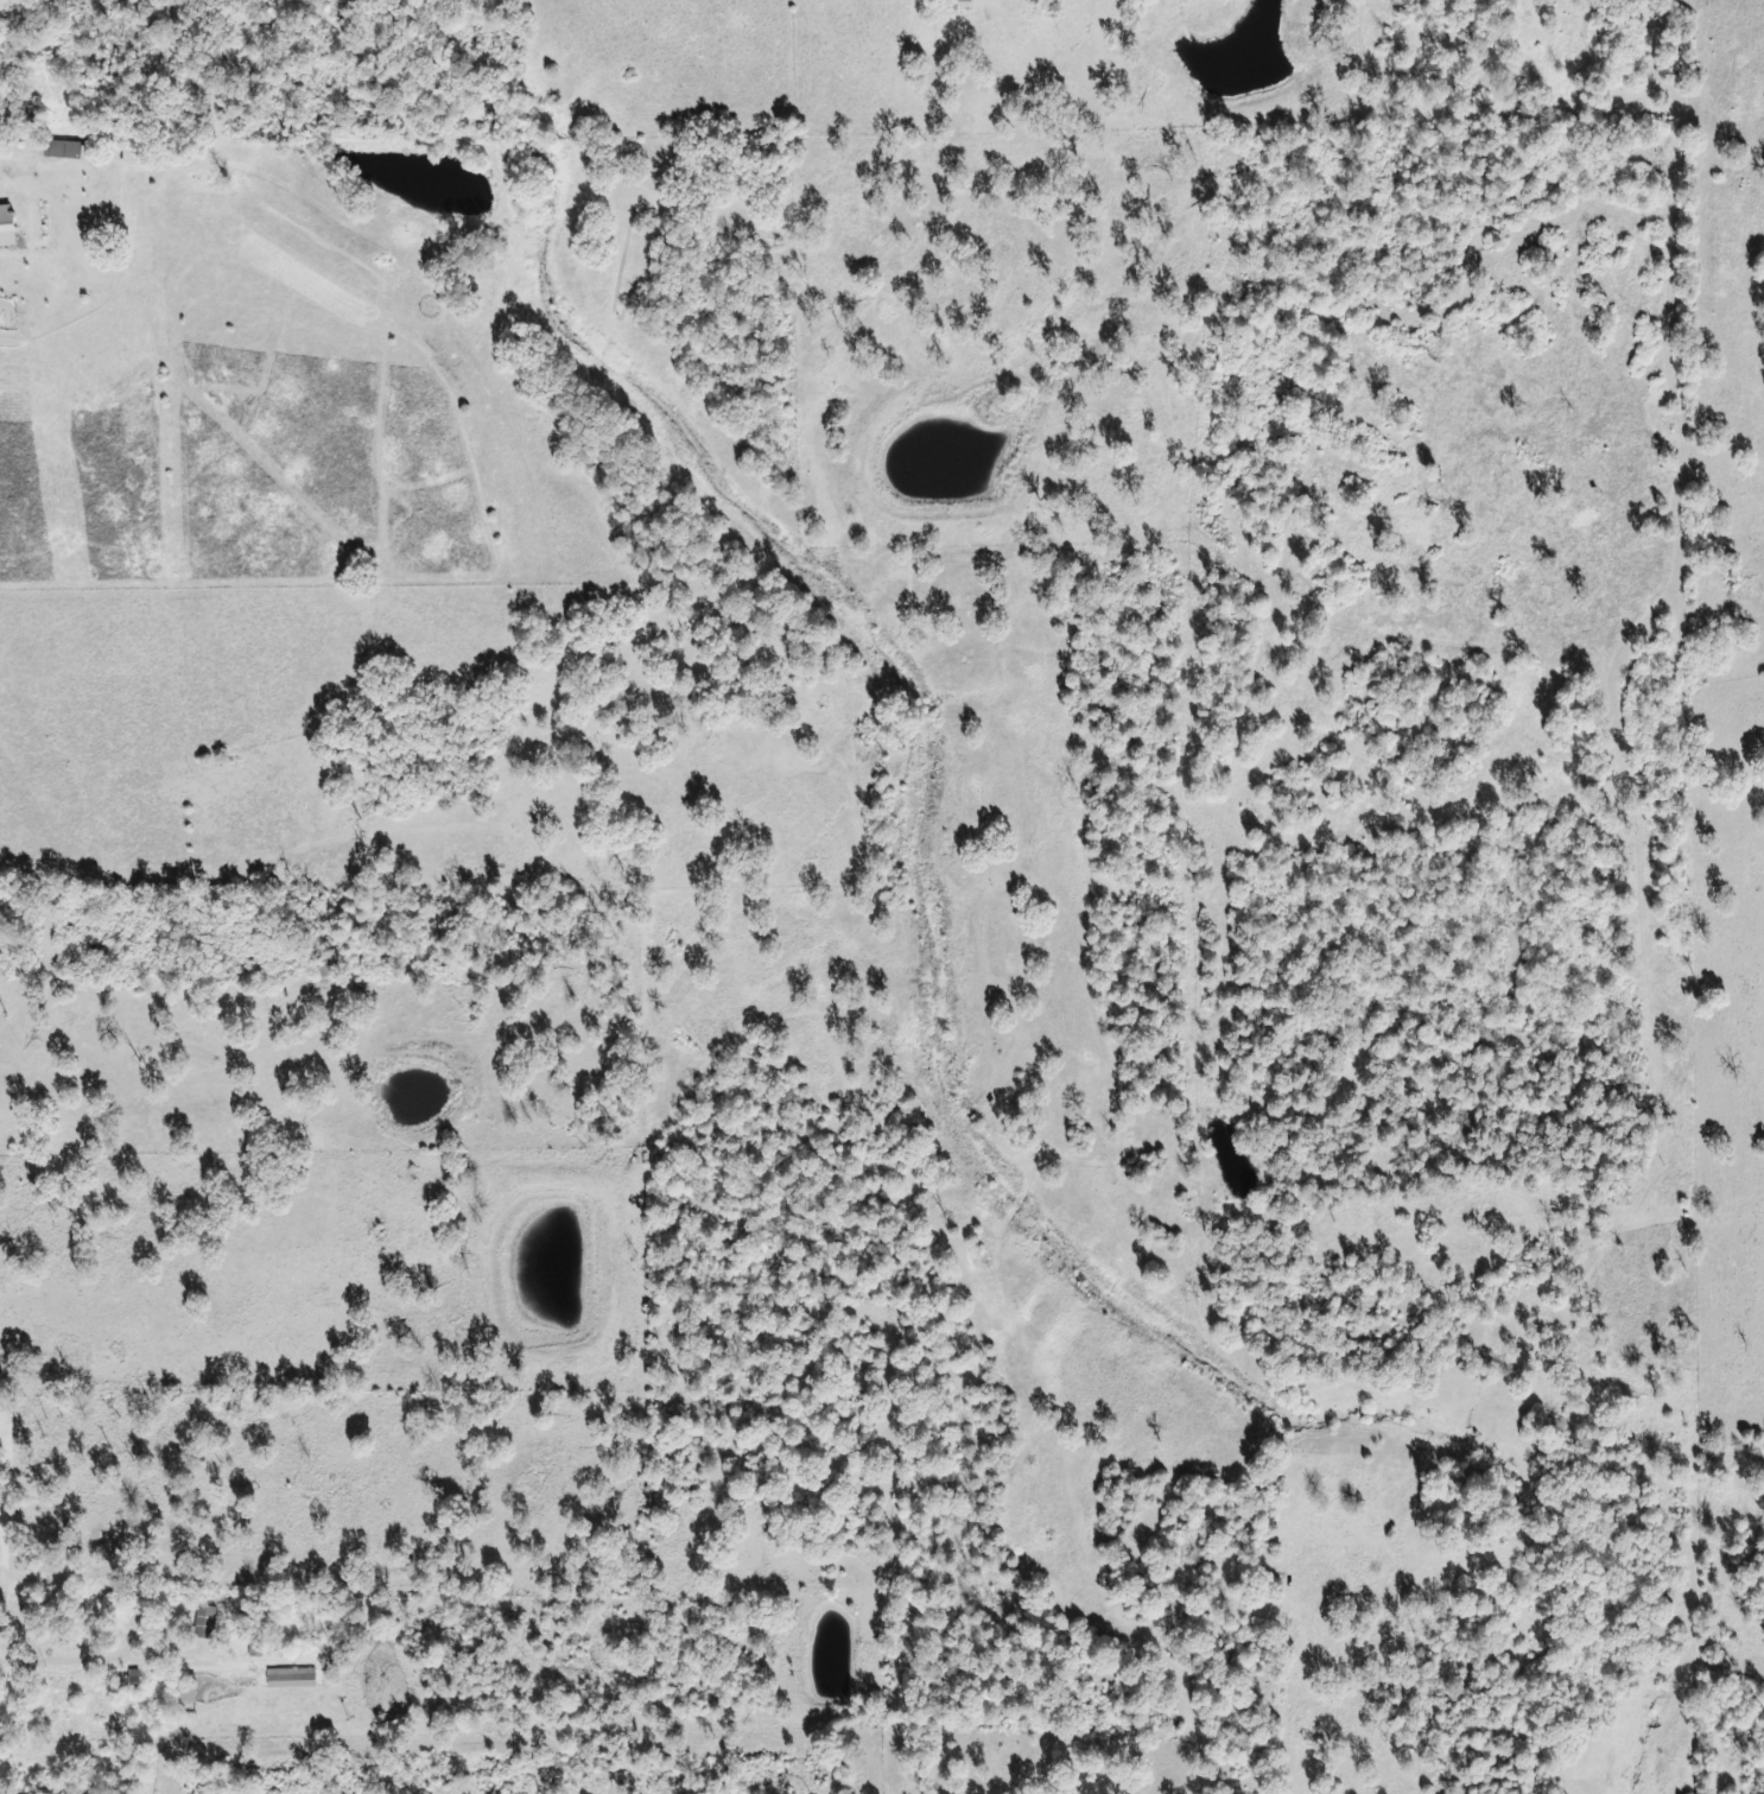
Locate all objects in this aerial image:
building: (204, 1623)
building: (255, 1650)
road: (152, 1659)
building: (291, 1679)
building: (185, 1695)

